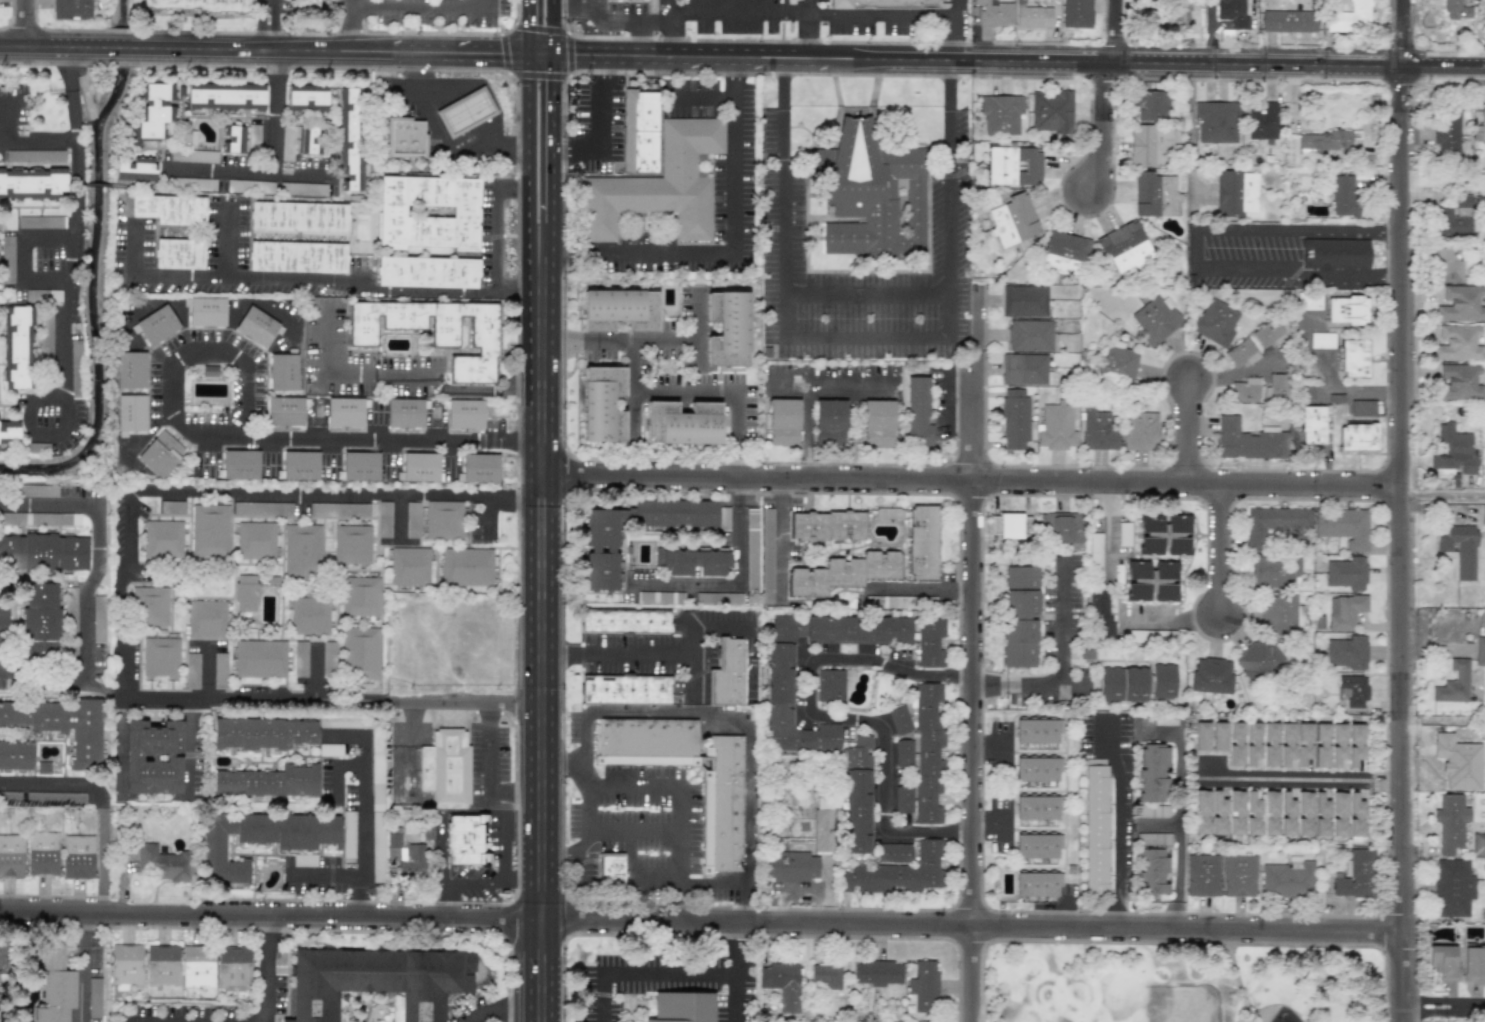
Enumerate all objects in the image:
building: (1334, 1)
building: (884, 3)
road: (574, 4)
building: (197, 5)
building: (308, 5)
road: (421, 7)
building: (72, 9)
building: (1458, 9)
building: (992, 12)
building: (1076, 13)
building: (1233, 13)
road: (812, 14)
building: (1032, 16)
building: (1169, 16)
building: (1350, 17)
road: (608, 19)
building: (1289, 21)
road: (26, 23)
road: (269, 24)
road: (354, 25)
road: (527, 27)
road: (553, 27)
road: (668, 28)
road: (805, 29)
road: (957, 30)
road: (1116, 32)
road: (638, 38)
road: (263, 49)
traffic signals: (528, 54)
road: (540, 54)
traffic signals: (553, 55)
road: (1018, 63)
road: (702, 96)
building: (225, 97)
building: (307, 99)
building: (1149, 105)
road: (274, 111)
building: (465, 112)
building: (1052, 112)
building: (154, 114)
building: (1000, 114)
building: (1216, 122)
building: (1262, 123)
road: (598, 126)
road: (1105, 128)
road: (1191, 128)
building: (1480, 129)
building: (639, 132)
building: (1447, 135)
building: (254, 136)
building: (404, 138)
building: (233, 139)
building: (307, 139)
building: (350, 139)
road: (437, 139)
road: (553, 139)
road: (75, 140)
building: (1325, 142)
building: (1143, 146)
road: (528, 152)
building: (57, 155)
building: (193, 156)
building: (1001, 165)
building: (1031, 165)
building: (135, 169)
road: (241, 171)
building: (32, 183)
building: (193, 184)
building: (659, 185)
building: (239, 186)
building: (303, 189)
building: (872, 193)
building: (1236, 193)
building: (1155, 195)
building: (1343, 195)
road: (29, 206)
building: (170, 209)
building: (428, 212)
building: (298, 218)
building: (1454, 219)
building: (1013, 220)
building: (41, 222)
road: (730, 228)
road: (546, 235)
road: (228, 244)
road: (497, 246)
building: (1124, 246)
road: (1196, 251)
building: (1334, 253)
building: (178, 254)
building: (1064, 254)
building: (297, 257)
building: (7, 259)
road: (71, 262)
building: (1448, 266)
building: (427, 272)
road: (288, 283)
road: (67, 288)
building: (51, 295)
road: (864, 296)
building: (1024, 301)
building: (1308, 301)
building: (1460, 302)
building: (619, 310)
building: (1347, 310)
building: (206, 312)
building: (1155, 319)
building: (1214, 322)
building: (157, 325)
building: (257, 327)
building: (728, 330)
building: (434, 332)
building: (1270, 332)
building: (1029, 335)
building: (46, 338)
building: (1321, 339)
road: (687, 341)
road: (861, 341)
building: (1458, 342)
building: (19, 347)
building: (76, 347)
building: (1241, 353)
building: (1353, 357)
building: (1118, 364)
building: (1024, 369)
building: (131, 370)
building: (283, 372)
road: (1233, 372)
road: (402, 375)
road: (1329, 382)
building: (1460, 382)
building: (1279, 387)
road: (786, 388)
building: (1245, 390)
road: (658, 391)
road: (807, 391)
building: (1335, 397)
road: (14, 404)
building: (602, 404)
building: (1362, 407)
building: (285, 411)
road: (635, 411)
building: (345, 412)
building: (131, 413)
building: (404, 413)
building: (918, 413)
building: (464, 414)
building: (1014, 418)
building: (783, 422)
building: (830, 422)
building: (682, 423)
building: (878, 423)
building: (1311, 424)
road: (1187, 426)
building: (1056, 427)
building: (1098, 428)
building: (9, 429)
building: (1139, 431)
building: (1356, 437)
building: (1248, 441)
road: (244, 443)
building: (1455, 450)
building: (160, 454)
building: (240, 464)
building: (300, 465)
building: (360, 466)
building: (420, 467)
building: (480, 468)
road: (540, 476)
road: (970, 481)
building: (35, 490)
road: (1443, 497)
road: (504, 499)
building: (171, 507)
building: (262, 508)
building: (338, 509)
road: (1401, 510)
building: (887, 513)
building: (680, 514)
building: (1483, 514)
building: (40, 519)
building: (384, 519)
building: (412, 520)
building: (443, 520)
building: (1274, 522)
building: (1014, 525)
building: (827, 526)
building: (1061, 527)
building: (1344, 527)
building: (210, 530)
road: (1106, 532)
building: (1163, 535)
road: (779, 538)
building: (163, 540)
building: (255, 540)
building: (922, 543)
building: (352, 544)
building: (604, 546)
building: (751, 549)
road: (1221, 549)
building: (302, 550)
building: (1460, 550)
building: (42, 553)
building: (767, 555)
road: (127, 558)
building: (691, 561)
building: (409, 566)
building: (466, 567)
building: (1276, 571)
building: (843, 573)
building: (1346, 573)
road: (731, 580)
building: (1137, 581)
building: (1164, 582)
road: (919, 588)
building: (246, 593)
building: (360, 596)
building: (660, 597)
road: (79, 598)
building: (719, 598)
building: (150, 606)
building: (1344, 611)
building: (1100, 614)
building: (1278, 614)
building: (310, 616)
building: (98, 619)
building: (206, 619)
road: (1171, 620)
building: (41, 622)
building: (625, 622)
building: (3, 623)
building: (70, 626)
building: (858, 630)
building: (1157, 635)
building: (929, 644)
building: (1480, 651)
building: (1347, 652)
building: (360, 653)
road: (972, 654)
building: (160, 657)
road: (660, 658)
building: (260, 659)
building: (300, 659)
building: (328, 660)
building: (1260, 660)
road: (1062, 666)
building: (192, 671)
building: (219, 671)
building: (727, 674)
building: (1212, 675)
building: (1163, 680)
building: (1122, 684)
building: (1453, 684)
building: (830, 685)
building: (626, 689)
building: (1354, 690)
building: (790, 696)
road: (462, 702)
road: (679, 713)
road: (837, 718)
building: (899, 720)
building: (338, 722)
building: (61, 725)
building: (1036, 731)
building: (262, 734)
building: (1201, 736)
building: (1218, 737)
road: (188, 738)
building: (1252, 742)
building: (1287, 742)
building: (1303, 743)
road: (119, 744)
building: (1235, 744)
building: (1270, 744)
building: (1338, 744)
building: (1355, 744)
building: (1321, 745)
road: (408, 746)
road: (540, 749)
building: (330, 750)
building: (925, 752)
building: (15, 756)
building: (152, 757)
road: (564, 760)
building: (43, 768)
road: (334, 769)
building: (445, 769)
building: (1036, 769)
building: (377, 771)
building: (1153, 772)
road: (487, 774)
road: (564, 775)
road: (1180, 778)
road: (1291, 779)
building: (268, 781)
road: (53, 784)
road: (681, 786)
building: (10, 795)
building: (858, 796)
building: (55, 798)
building: (903, 799)
road: (101, 804)
building: (1036, 807)
road: (363, 811)
building: (1151, 811)
building: (1235, 812)
building: (1201, 813)
building: (1270, 813)
building: (1304, 813)
building: (1218, 814)
building: (1252, 814)
building: (1286, 814)
building: (1338, 814)
building: (1321, 815)
building: (1355, 815)
building: (721, 818)
building: (1095, 826)
road: (1122, 828)
road: (635, 830)
building: (348, 834)
building: (260, 838)
building: (1154, 839)
building: (466, 841)
building: (1478, 844)
building: (1035, 846)
building: (894, 852)
building: (42, 853)
road: (442, 853)
building: (801, 853)
building: (405, 855)
road: (634, 855)
building: (11, 856)
building: (77, 857)
building: (304, 860)
road: (102, 861)
building: (162, 863)
building: (610, 868)
building: (1152, 871)
building: (897, 873)
building: (1202, 875)
building: (1238, 875)
building: (1355, 875)
road: (1176, 876)
building: (1288, 878)
road: (691, 881)
road: (471, 882)
building: (1037, 884)
building: (1453, 887)
road: (540, 908)
road: (700, 923)
building: (3, 958)
building: (1443, 961)
building: (1474, 961)
building: (162, 965)
building: (126, 966)
building: (198, 966)
road: (80, 967)
building: (234, 968)
road: (266, 969)
building: (878, 970)
road: (736, 973)
road: (644, 975)
road: (1236, 975)
building: (825, 977)
building: (376, 981)
building: (52, 983)
park: (1180, 983)
building: (783, 984)
building: (925, 984)
building: (95, 997)
road: (502, 1007)
building: (682, 1007)
road: (1443, 1010)

